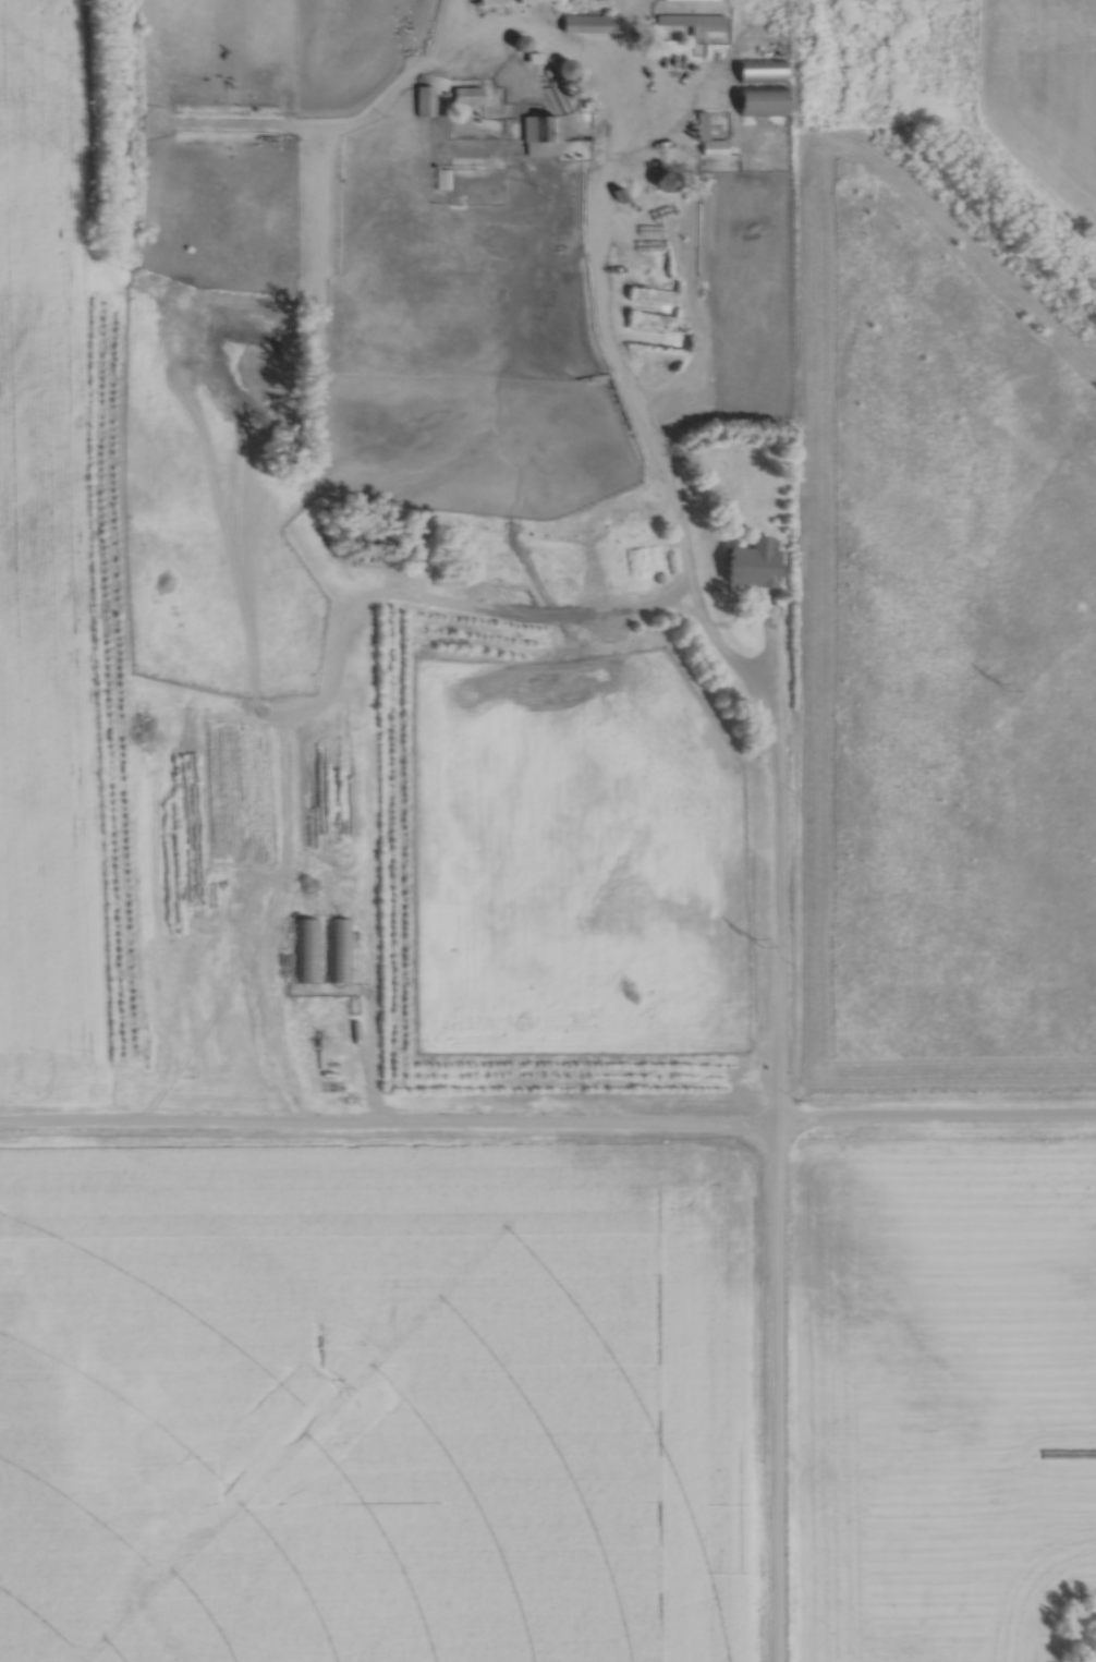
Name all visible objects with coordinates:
building: (523, 0)
building: (488, 2)
building: (691, 21)
building: (582, 23)
building: (560, 65)
building: (757, 70)
building: (465, 95)
building: (423, 99)
building: (757, 100)
building: (538, 134)
road: (611, 186)
building: (748, 566)
power tower: (1003, 686)
power tower: (757, 941)
building: (305, 949)
building: (337, 949)
road: (779, 1021)
road: (369, 1055)
road: (548, 1127)
power tower: (334, 1381)

